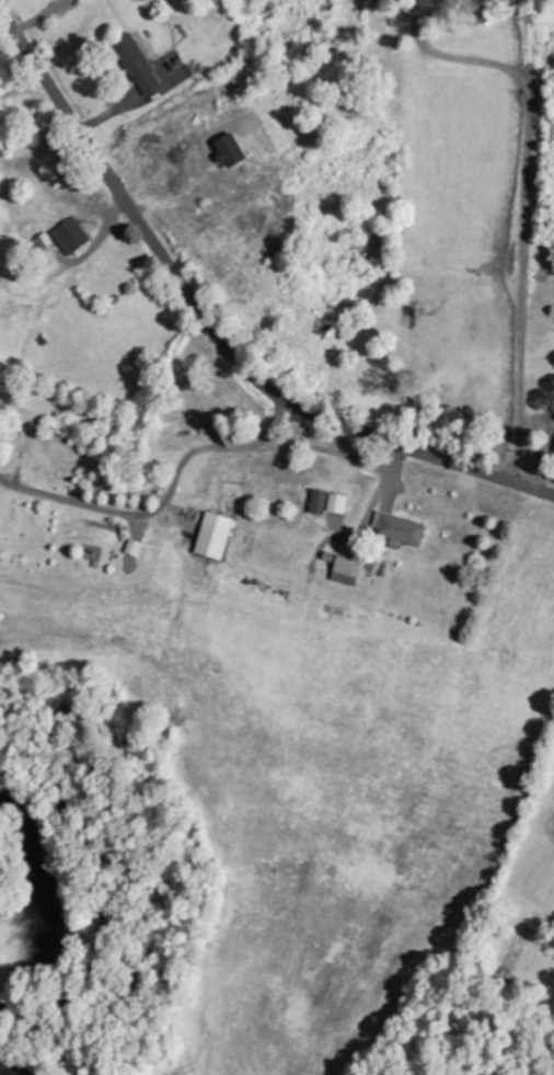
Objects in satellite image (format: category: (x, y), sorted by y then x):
building: (137, 65)
building: (230, 151)
building: (71, 236)
building: (44, 241)
road: (215, 325)
building: (320, 502)
building: (401, 529)
building: (215, 537)
building: (347, 571)

